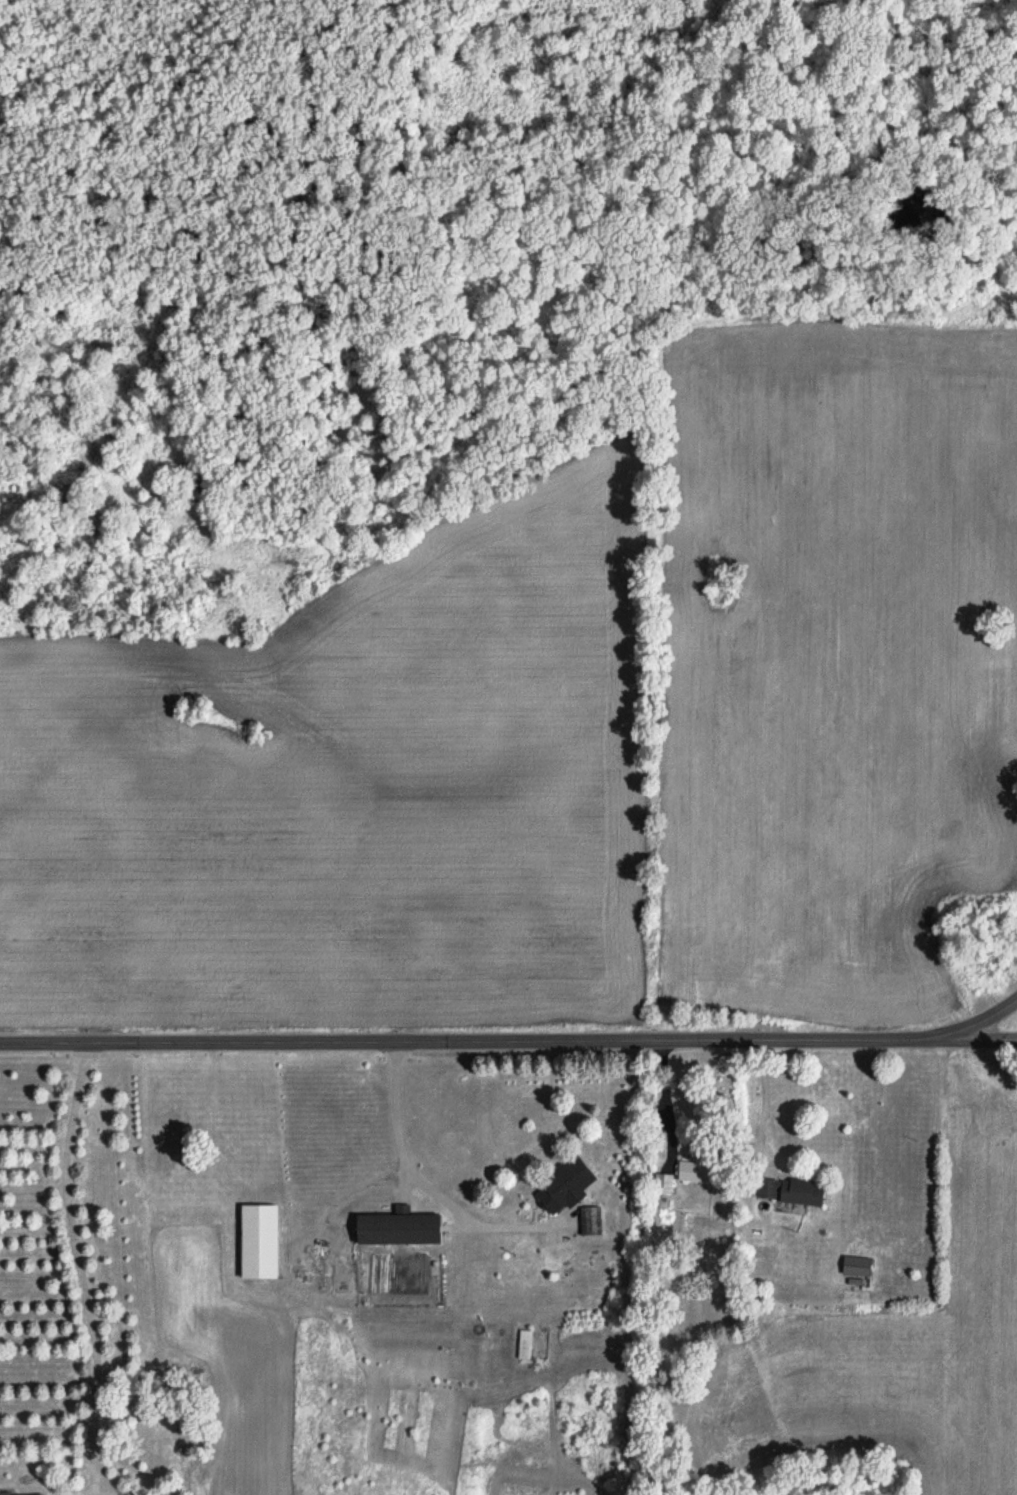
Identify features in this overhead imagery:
road: (946, 1038)
road: (508, 1047)
building: (698, 1171)
building: (569, 1185)
building: (793, 1190)
building: (592, 1220)
building: (404, 1227)
building: (264, 1241)
building: (860, 1265)
building: (8, 1491)

